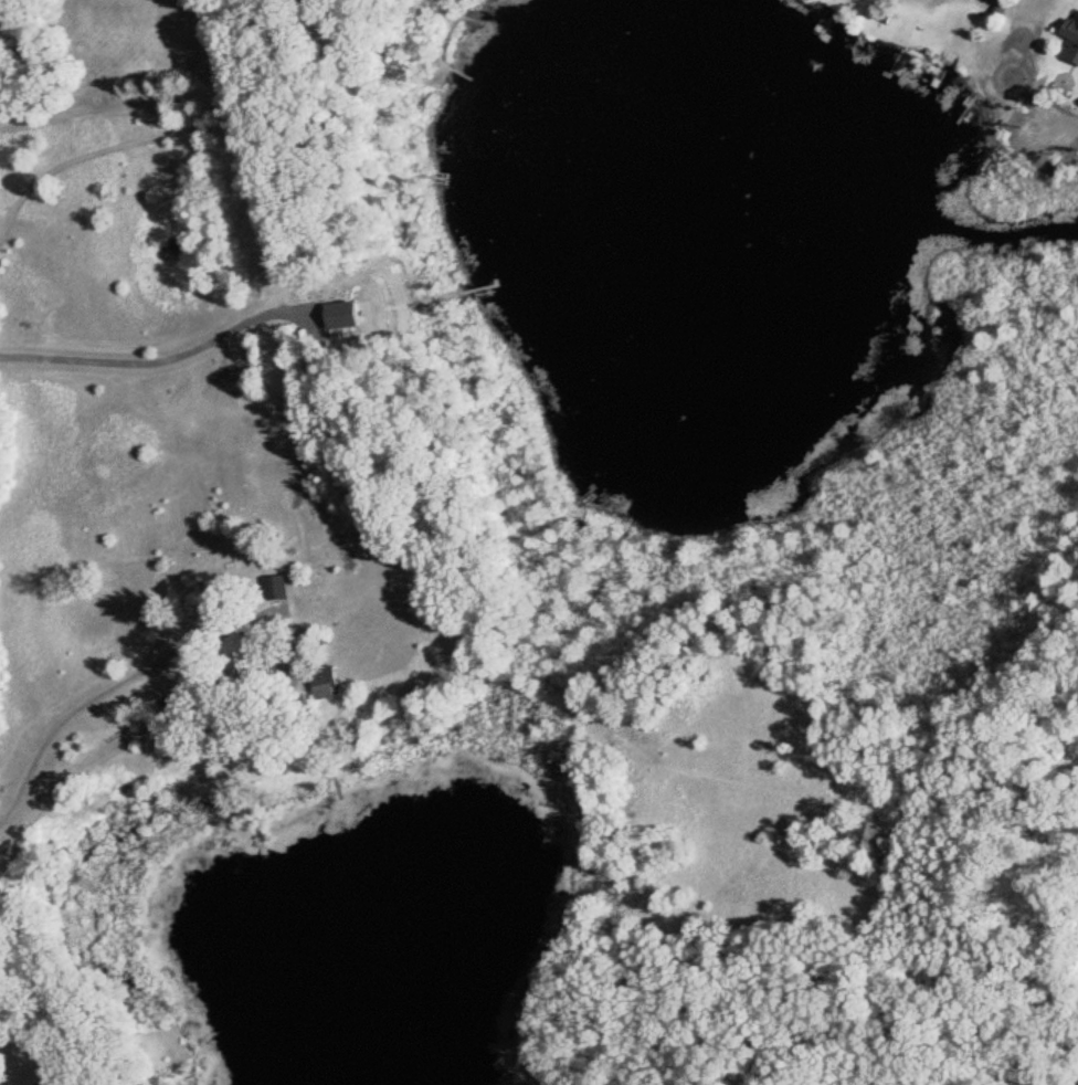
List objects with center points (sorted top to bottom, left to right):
building: (1072, 30)
river: (1010, 234)

